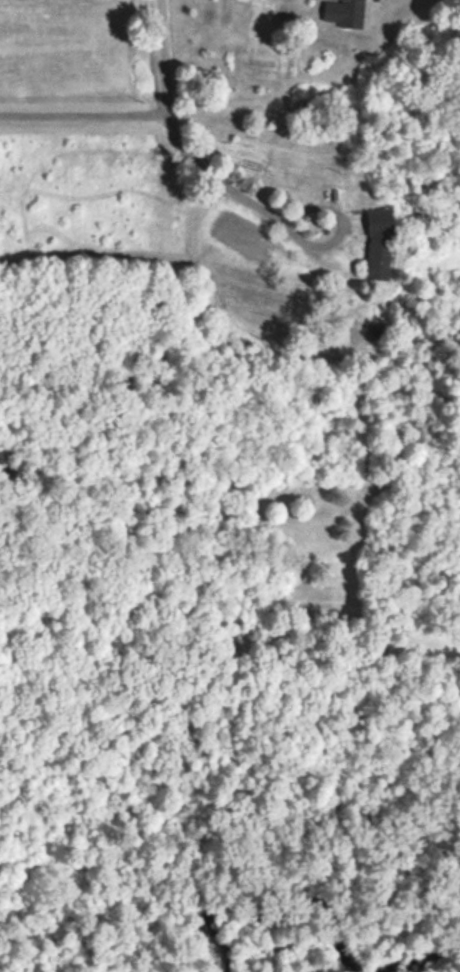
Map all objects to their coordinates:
building: (344, 12)
road: (83, 113)
road: (173, 128)
road: (341, 224)
building: (377, 243)

